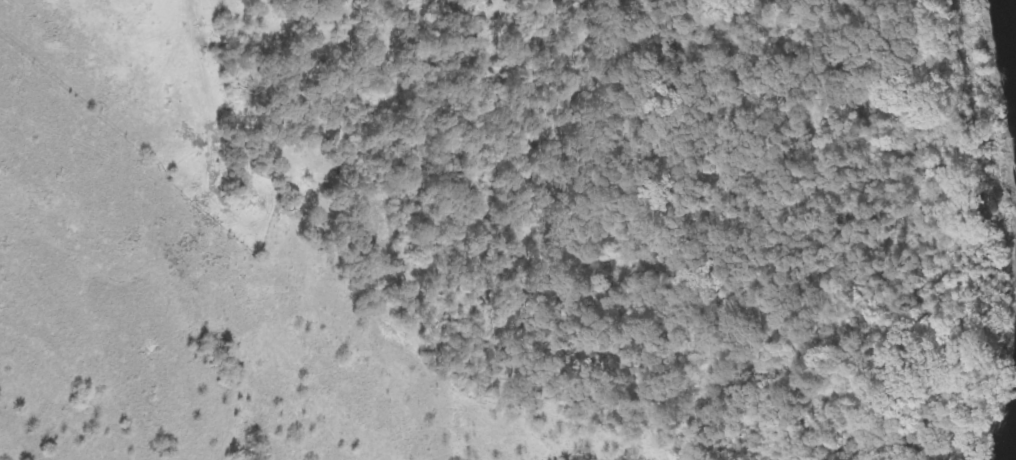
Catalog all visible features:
river: (1013, 11)
river: (1013, 455)

